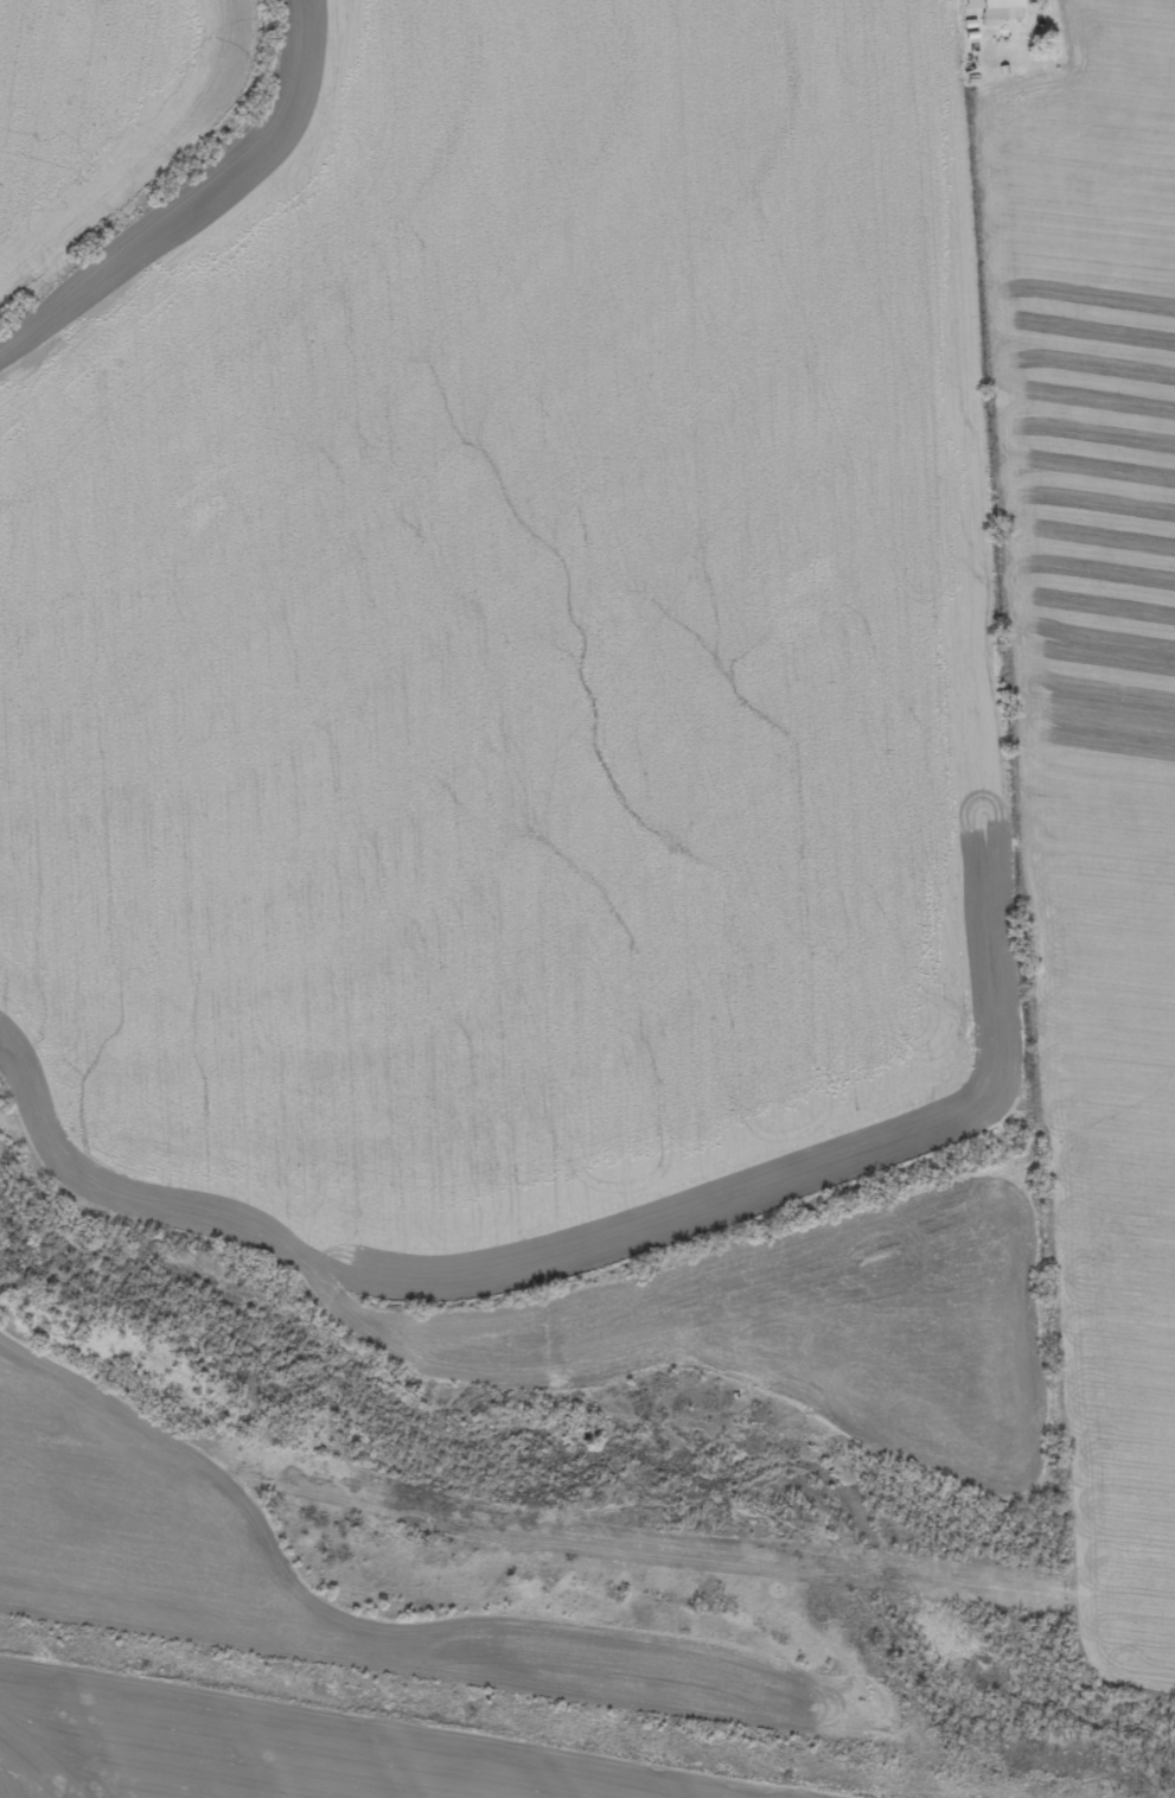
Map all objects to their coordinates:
building: (992, 14)

